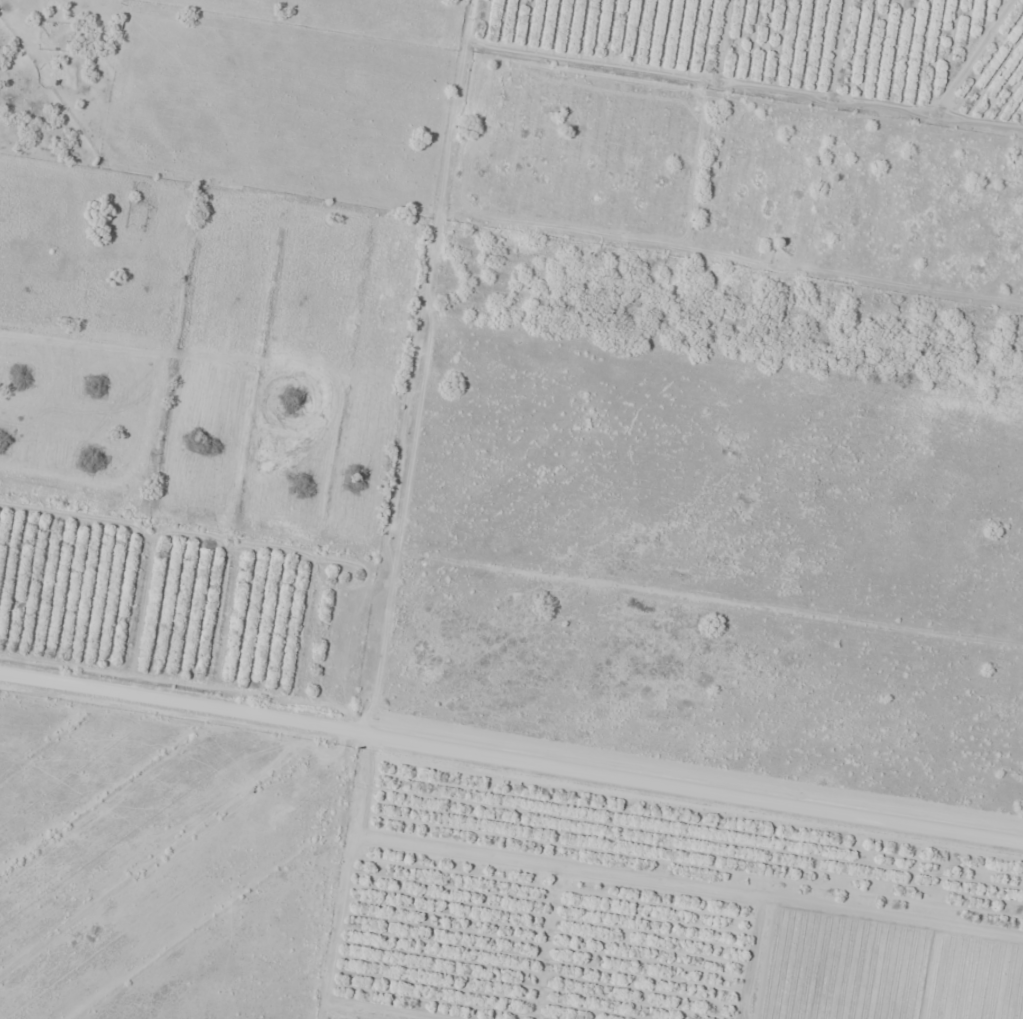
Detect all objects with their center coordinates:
road: (511, 763)

